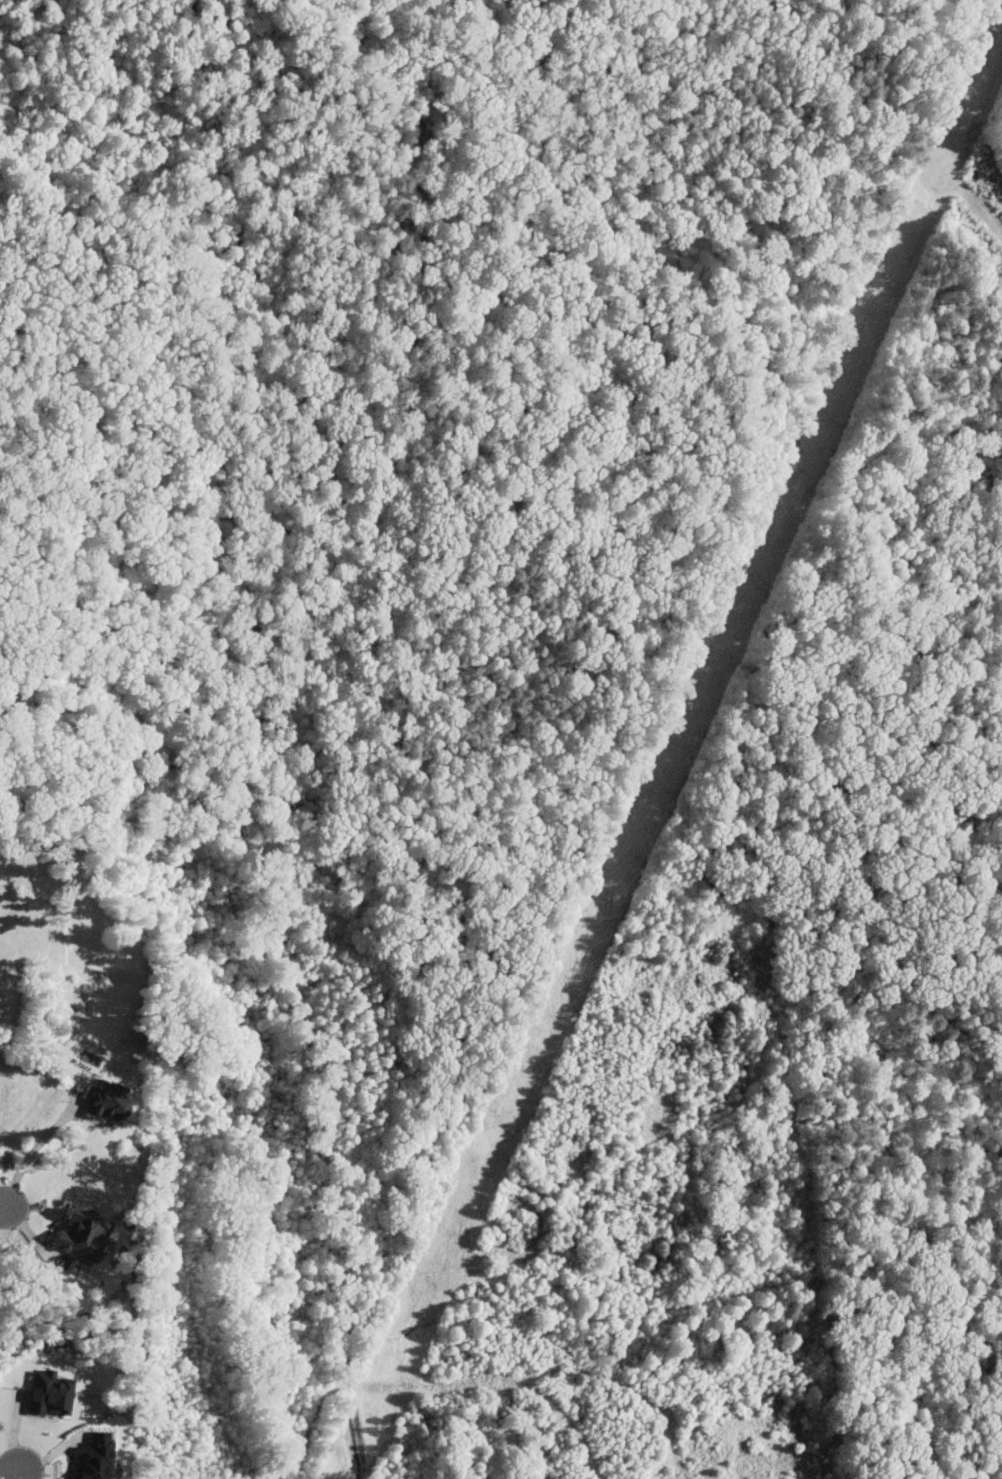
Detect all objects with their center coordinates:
building: (109, 1102)
road: (29, 1155)
park: (478, 1180)
road: (2, 1214)
building: (85, 1235)
road: (441, 1384)
building: (52, 1393)
building: (97, 1457)
road: (11, 1475)

